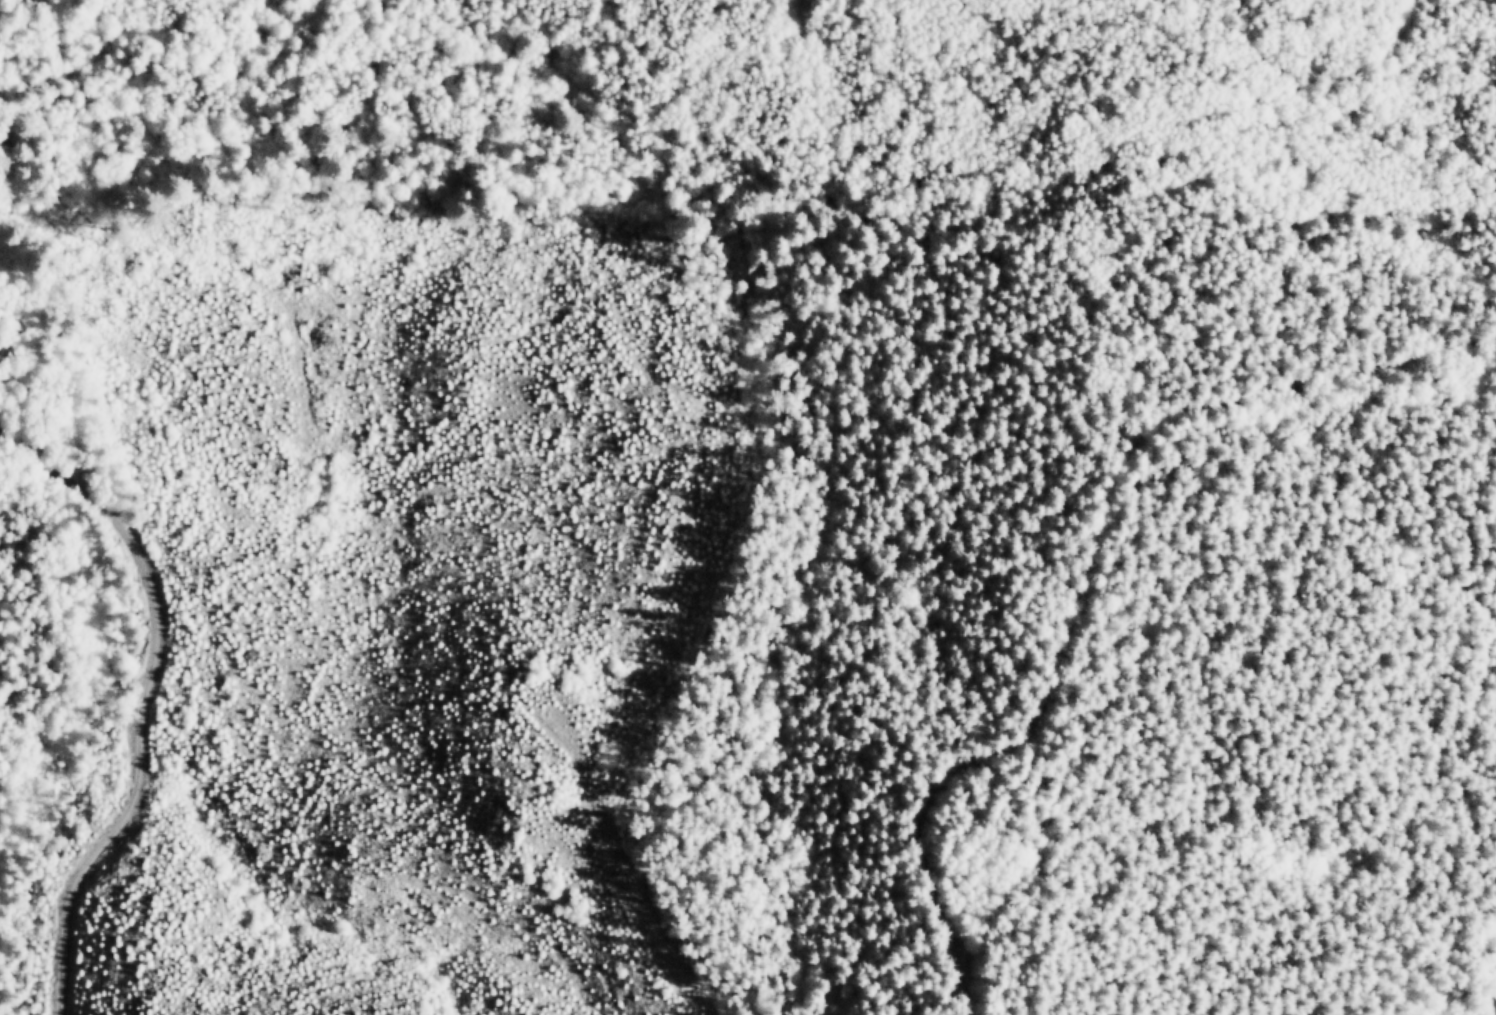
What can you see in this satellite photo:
road: (241, 642)

